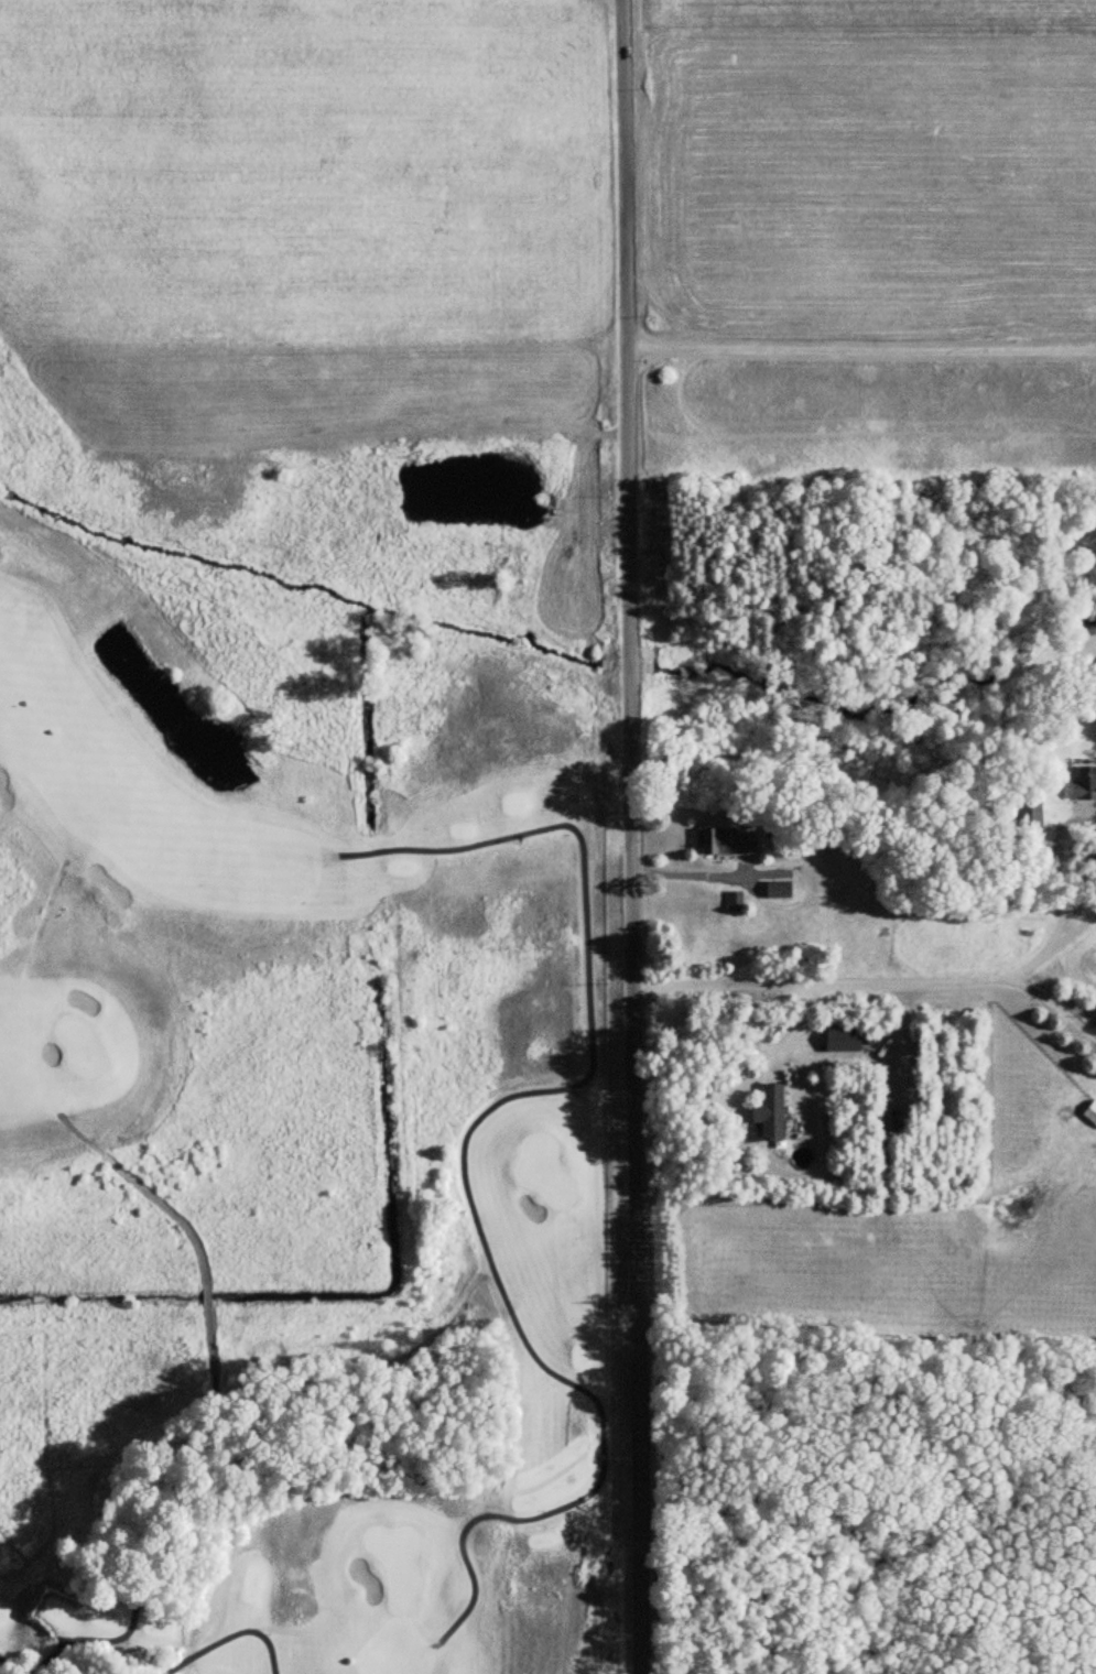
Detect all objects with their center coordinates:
road: (860, 346)
building: (1085, 782)
building: (1030, 812)
road: (631, 836)
building: (727, 840)
road: (1057, 868)
road: (691, 878)
building: (780, 889)
road: (1074, 928)
road: (1028, 965)
road: (872, 980)
building: (843, 1039)
building: (772, 1112)
building: (1092, 1112)

